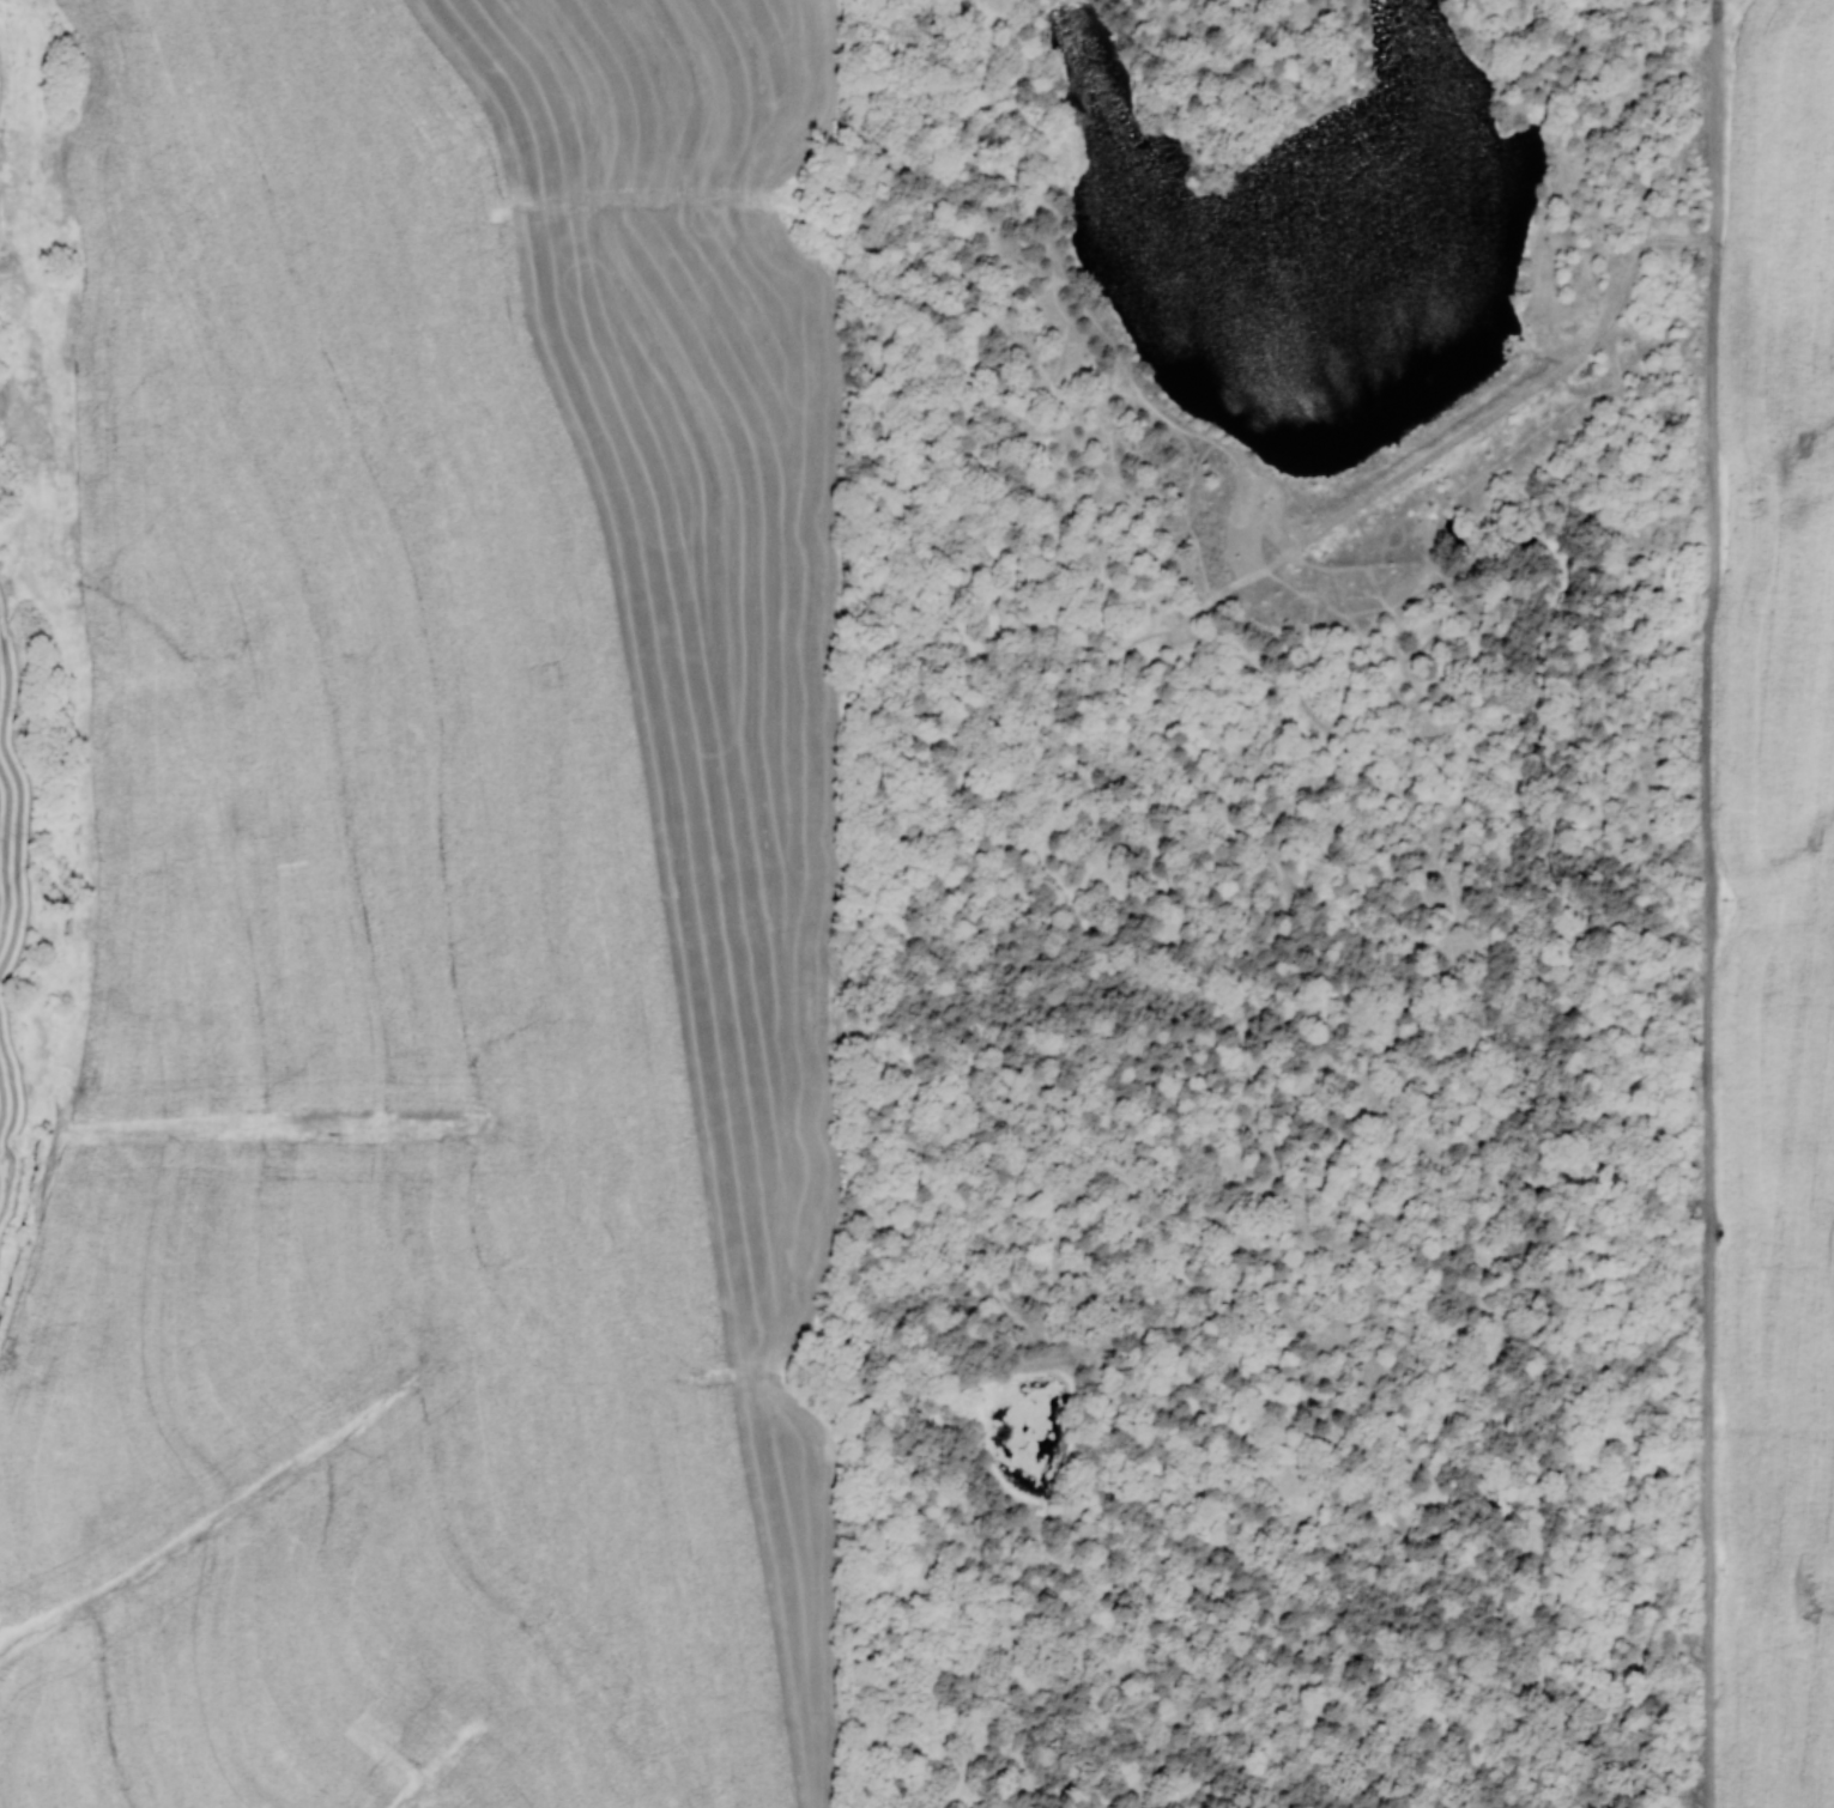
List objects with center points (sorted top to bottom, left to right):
dam: (1247, 423)
road: (1714, 904)
road: (1774, 1395)

